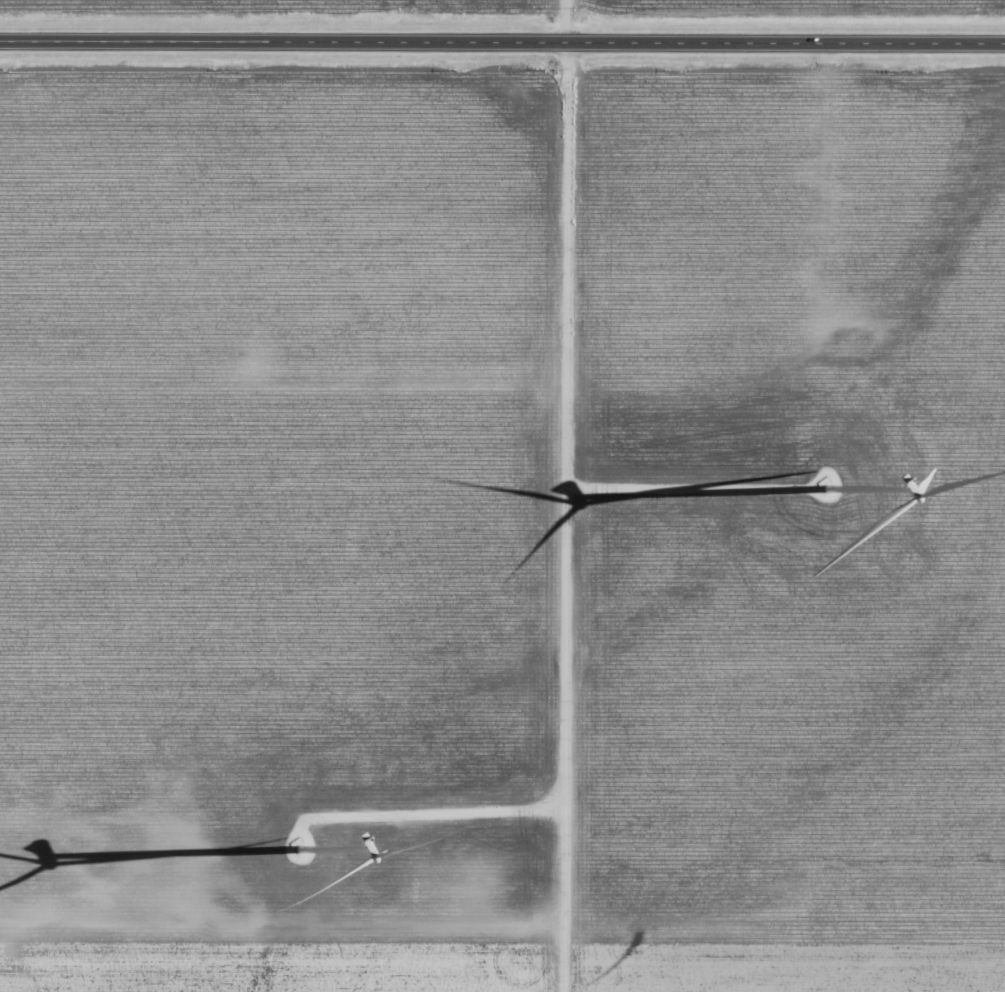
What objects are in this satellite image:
road: (502, 44)
road: (502, 359)
wind turbine: (825, 484)
road: (569, 495)
wind turbine: (293, 851)

